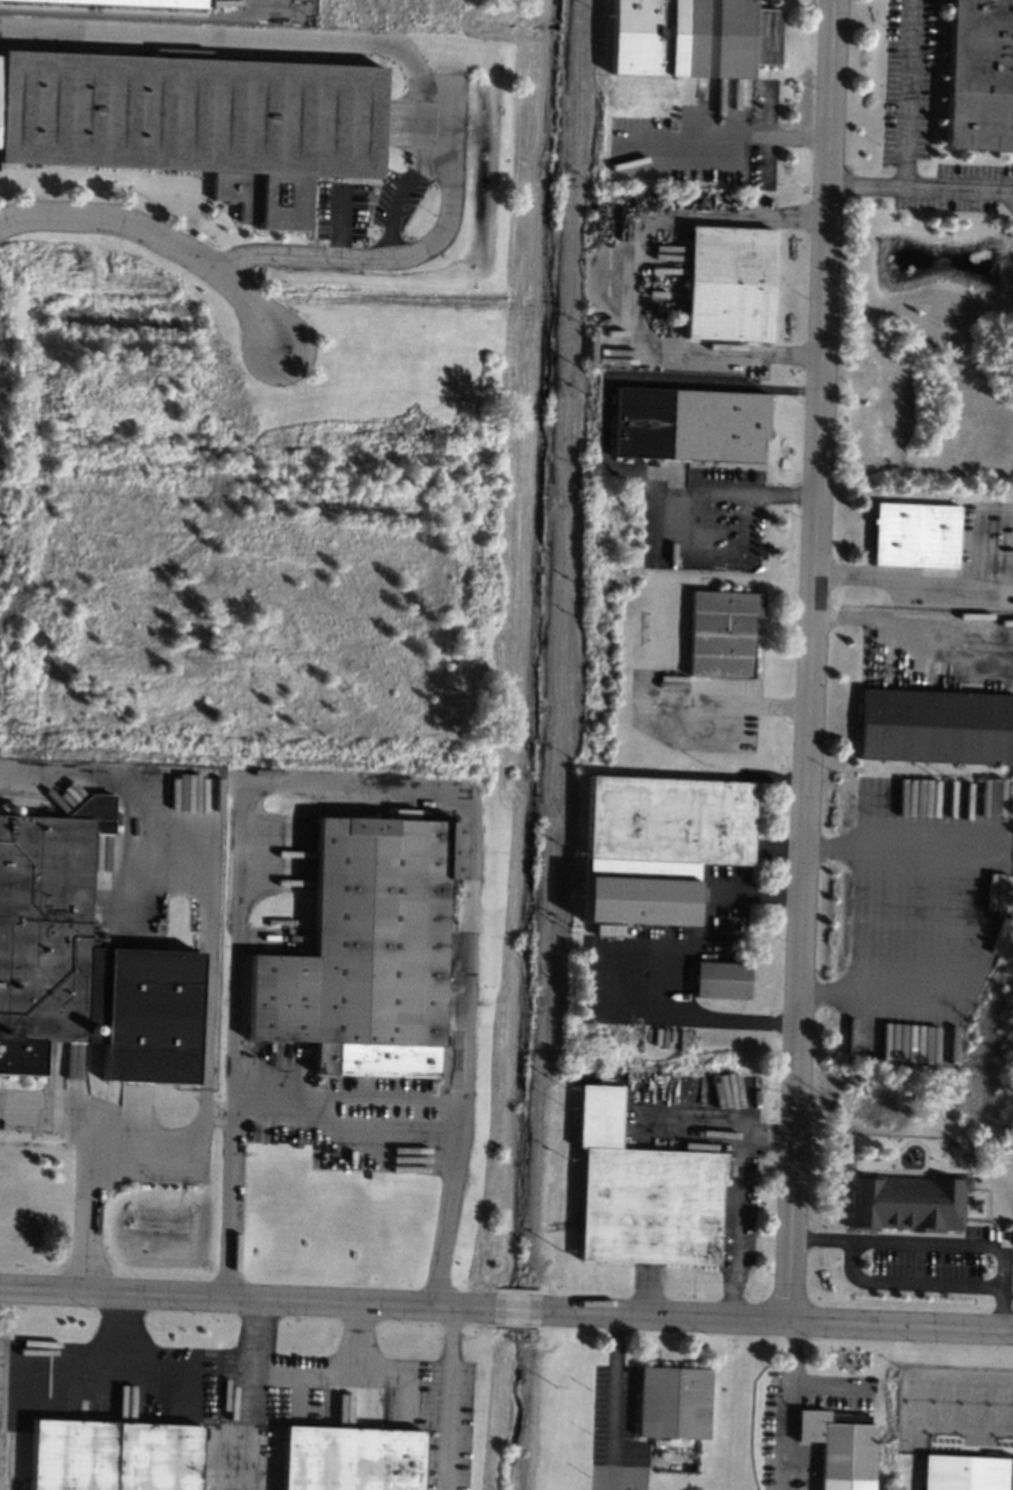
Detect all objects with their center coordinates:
building: (140, 3)
building: (726, 37)
road: (410, 61)
building: (979, 75)
building: (198, 121)
road: (906, 133)
road: (754, 136)
road: (958, 191)
road: (804, 219)
road: (159, 241)
building: (726, 283)
road: (634, 301)
road: (610, 376)
road: (783, 390)
building: (714, 425)
railway: (1, 484)
road: (728, 496)
building: (913, 534)
road: (917, 581)
road: (912, 621)
building: (720, 632)
road: (809, 659)
road: (737, 707)
building: (936, 726)
railway: (32, 794)
road: (470, 817)
building: (658, 842)
building: (43, 924)
road: (974, 934)
building: (365, 949)
road: (658, 961)
building: (721, 979)
road: (230, 1037)
road: (341, 1122)
road: (88, 1160)
building: (641, 1192)
road: (737, 1201)
building: (907, 1201)
road: (931, 1244)
road: (506, 1308)
road: (123, 1331)
road: (355, 1337)
road: (251, 1360)
road: (127, 1369)
road: (354, 1371)
road: (827, 1385)
road: (792, 1390)
road: (443, 1394)
building: (672, 1402)
building: (847, 1446)
building: (112, 1455)
building: (350, 1459)
building: (966, 1472)

